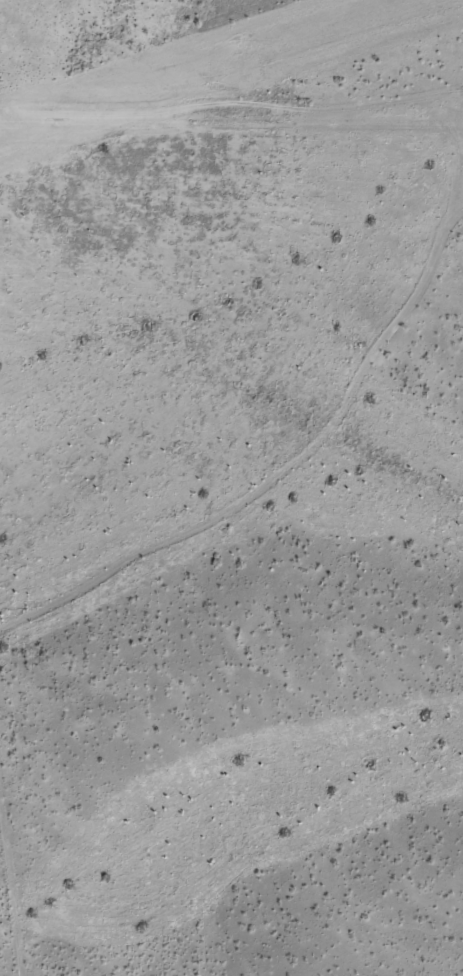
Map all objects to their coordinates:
road: (254, 437)

